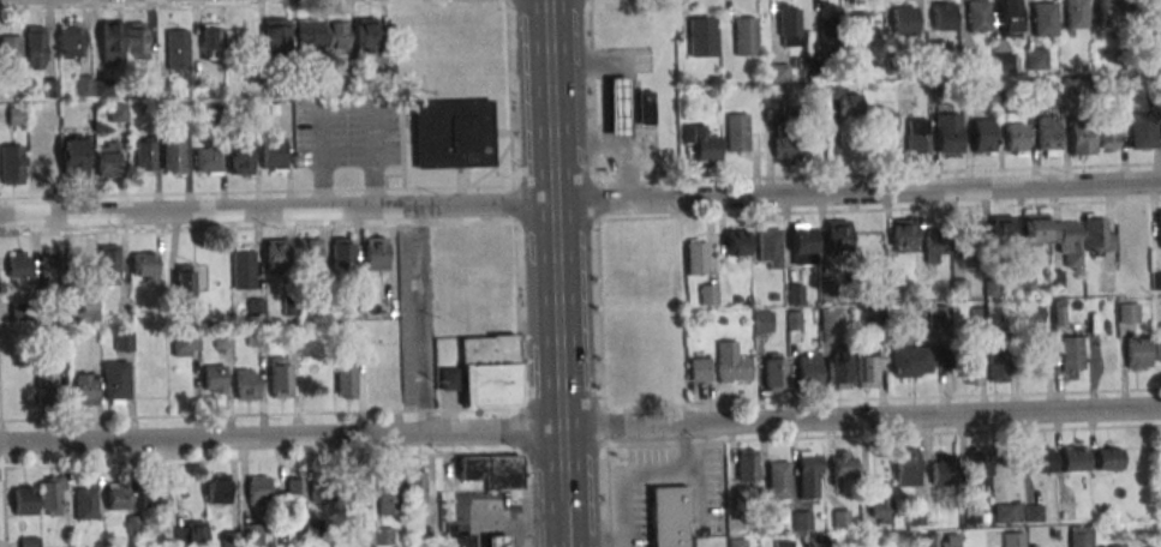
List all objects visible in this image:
building: (1108, 11)
building: (1076, 14)
building: (944, 16)
building: (979, 17)
building: (1010, 18)
building: (904, 19)
building: (1045, 19)
building: (830, 22)
building: (789, 24)
building: (858, 34)
building: (276, 35)
building: (335, 35)
building: (309, 36)
building: (367, 36)
building: (746, 36)
building: (701, 37)
building: (71, 40)
building: (136, 40)
building: (210, 41)
building: (110, 42)
building: (35, 48)
building: (10, 49)
building: (176, 49)
building: (1036, 59)
building: (1004, 61)
road: (632, 91)
road: (603, 103)
building: (849, 107)
building: (644, 109)
building: (617, 110)
building: (14, 115)
building: (882, 120)
building: (736, 132)
building: (1143, 132)
building: (948, 133)
building: (1108, 133)
building: (1048, 136)
building: (454, 137)
building: (917, 137)
building: (982, 137)
building: (1081, 138)
building: (1016, 139)
road: (593, 143)
building: (701, 143)
building: (786, 148)
building: (273, 154)
building: (144, 155)
building: (72, 157)
building: (172, 157)
building: (106, 158)
building: (240, 158)
building: (208, 160)
building: (40, 162)
building: (11, 164)
road: (580, 202)
building: (1034, 229)
building: (1001, 230)
building: (969, 234)
building: (1097, 234)
building: (837, 235)
building: (903, 235)
building: (803, 239)
building: (737, 242)
building: (1067, 242)
building: (936, 246)
road: (557, 248)
building: (770, 248)
building: (376, 252)
building: (309, 253)
building: (342, 253)
building: (276, 254)
building: (696, 256)
building: (18, 264)
building: (108, 264)
building: (144, 265)
building: (244, 266)
building: (50, 271)
building: (1156, 281)
building: (185, 287)
building: (708, 294)
building: (794, 294)
building: (85, 306)
building: (1127, 312)
building: (938, 315)
building: (1027, 317)
road: (423, 318)
building: (762, 323)
building: (831, 325)
building: (124, 339)
building: (185, 342)
building: (1157, 343)
building: (1071, 353)
building: (1137, 353)
building: (914, 361)
building: (997, 365)
building: (866, 366)
building: (970, 367)
building: (734, 368)
building: (700, 369)
building: (838, 369)
building: (485, 371)
building: (808, 371)
building: (776, 372)
building: (280, 377)
building: (214, 380)
building: (346, 381)
building: (103, 385)
building: (47, 386)
building: (247, 386)
road: (580, 428)
building: (1108, 458)
building: (1075, 459)
building: (1041, 461)
building: (747, 465)
building: (905, 467)
building: (844, 468)
building: (940, 469)
building: (489, 471)
building: (977, 473)
building: (809, 474)
road: (641, 476)
building: (778, 480)
building: (219, 488)
building: (295, 489)
building: (415, 489)
building: (258, 491)
building: (321, 494)
building: (118, 495)
building: (389, 497)
building: (50, 498)
building: (151, 499)
building: (24, 500)
building: (84, 501)
building: (879, 501)
building: (1006, 512)
building: (668, 517)
road: (565, 519)
building: (190, 534)
building: (252, 534)
building: (1079, 536)
building: (939, 540)
building: (1012, 540)
building: (29, 542)
building: (457, 542)
building: (497, 542)
building: (737, 542)
road: (567, 543)
road: (594, 543)

